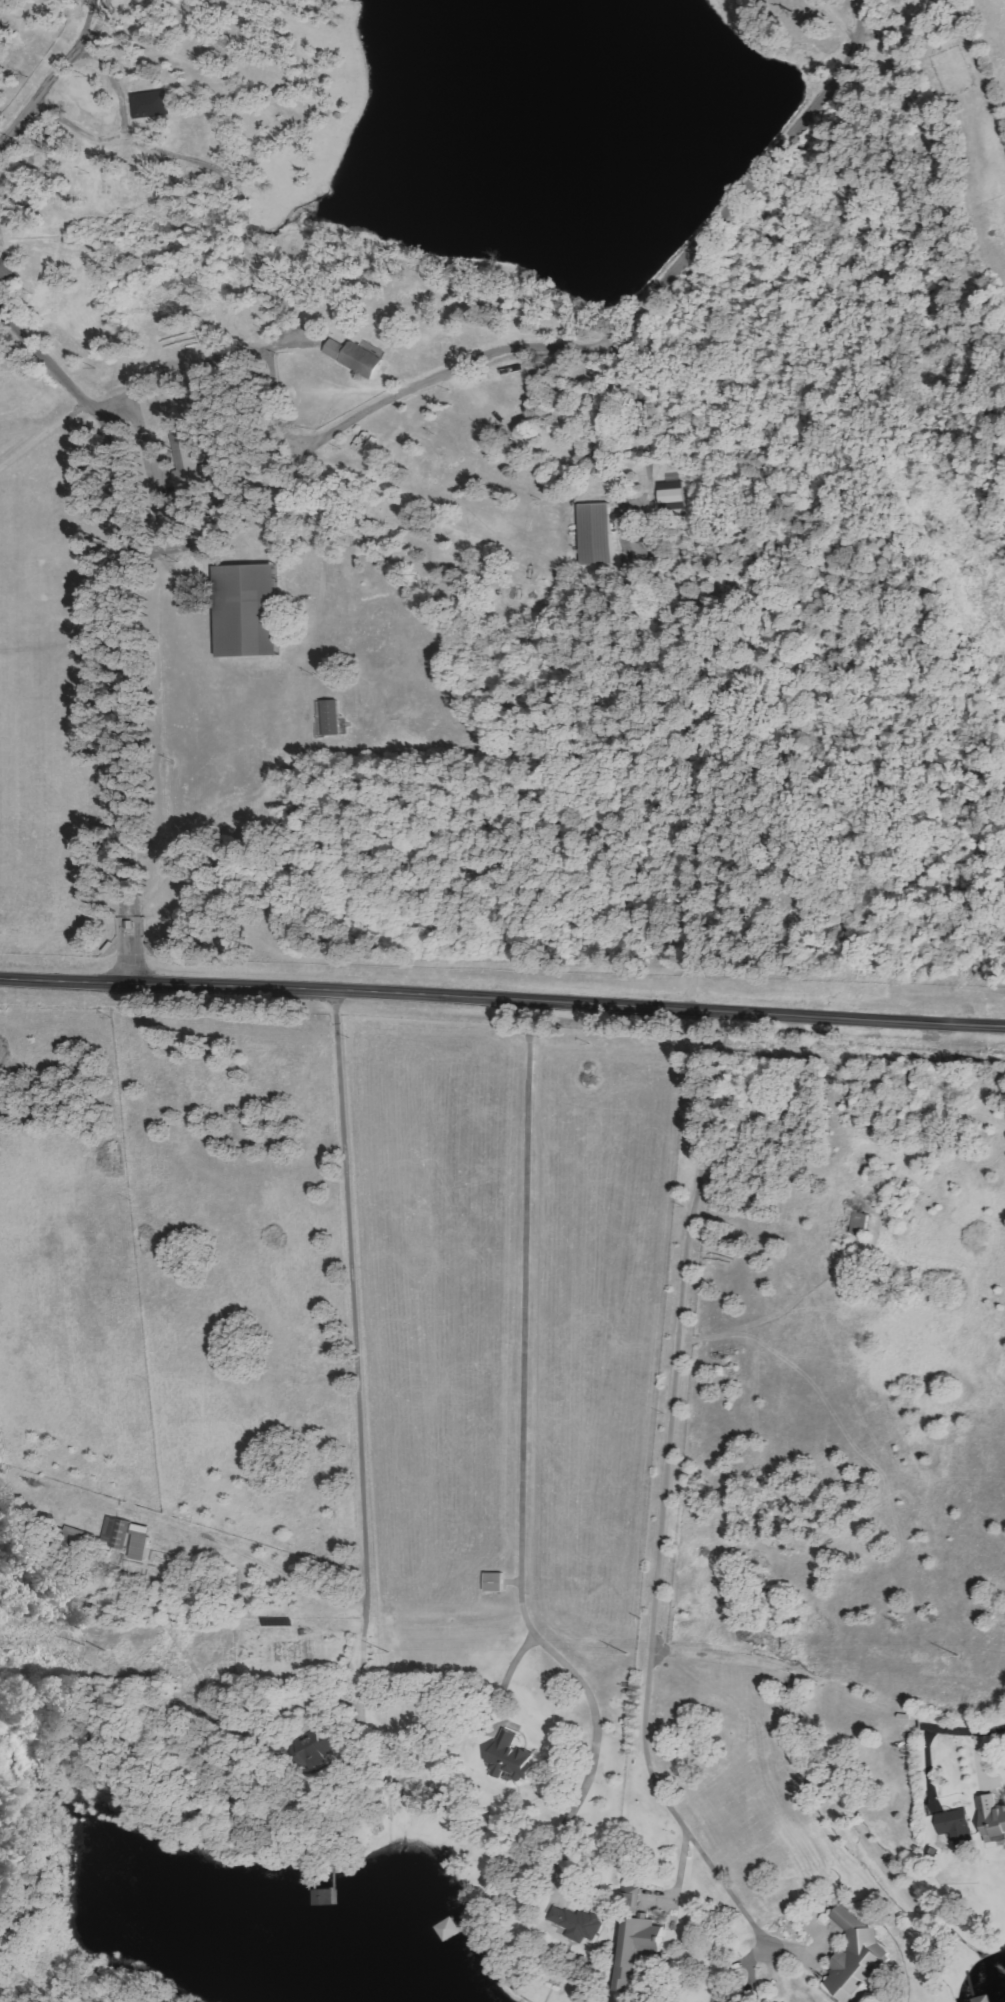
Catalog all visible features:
road: (53, 77)
building: (152, 104)
building: (6, 270)
road: (550, 344)
building: (356, 358)
building: (194, 462)
building: (670, 494)
building: (597, 533)
building: (249, 609)
road: (125, 624)
building: (331, 719)
road: (502, 991)
building: (118, 1532)
building: (141, 1542)
building: (495, 1582)
power tower: (105, 1650)
power tower: (388, 1652)
power tower: (624, 1653)
power tower: (956, 1655)
road: (973, 1716)
building: (316, 1751)
building: (512, 1757)
building: (993, 1818)
building: (956, 1824)
building: (578, 1923)
building: (637, 1949)
building: (857, 1958)
building: (983, 1999)

